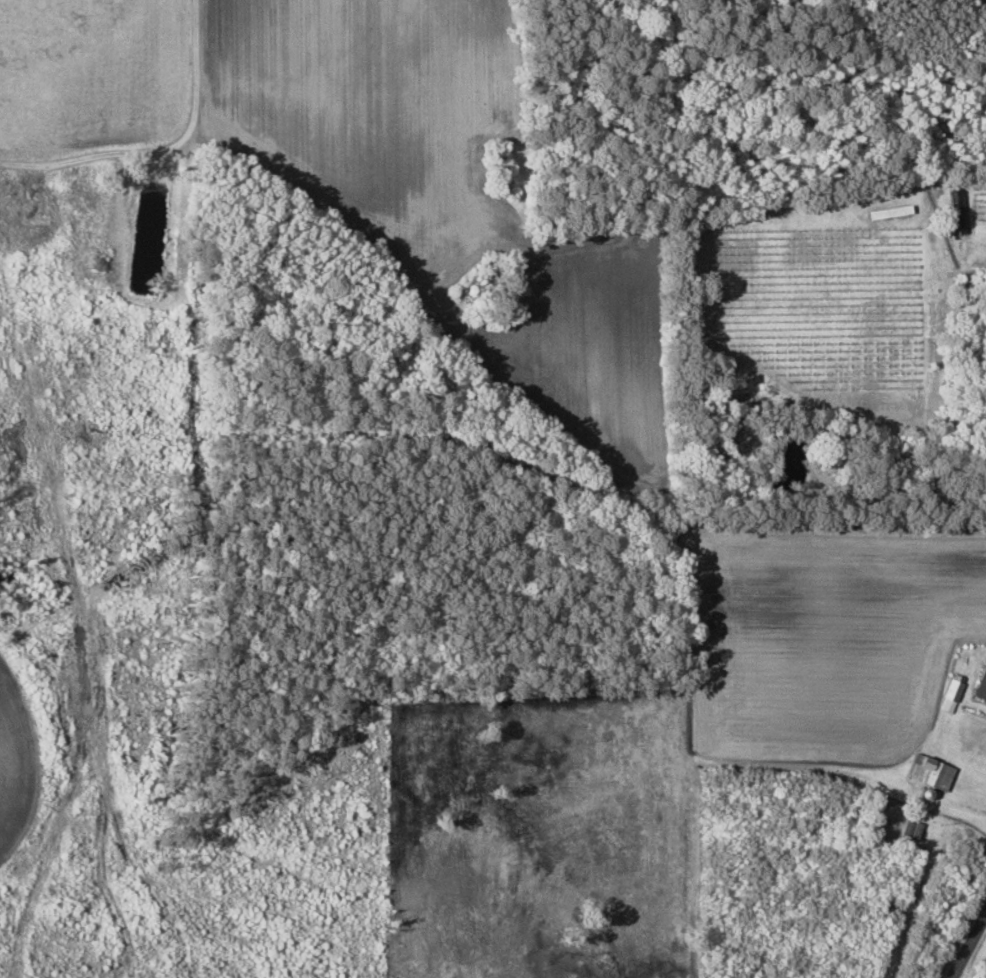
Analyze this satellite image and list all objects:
road: (161, 149)
building: (981, 685)
building: (929, 772)
road: (973, 953)

